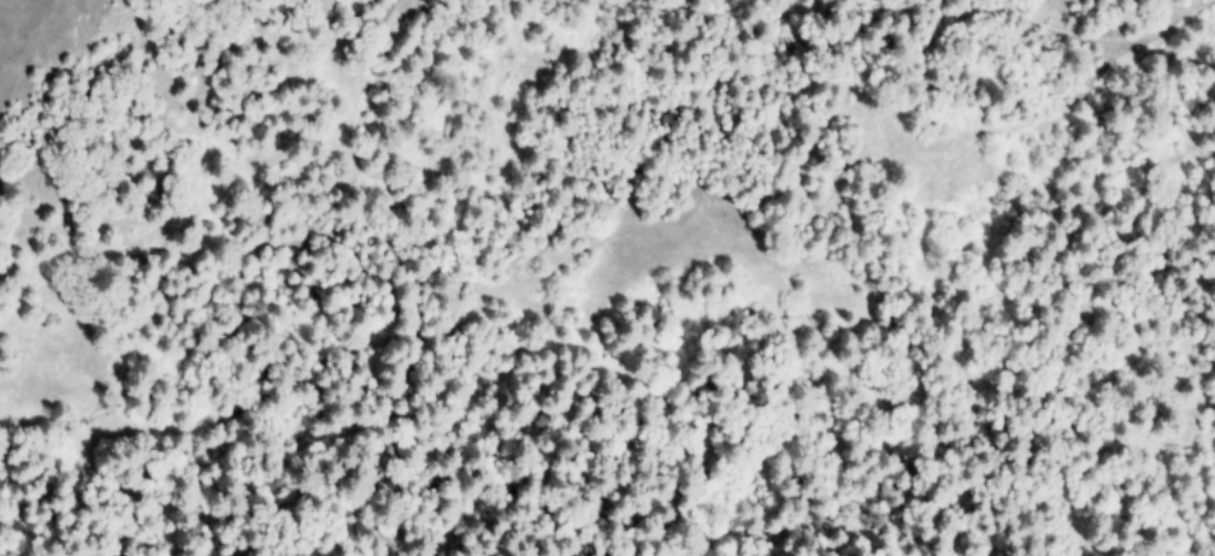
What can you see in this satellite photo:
road: (547, 260)

